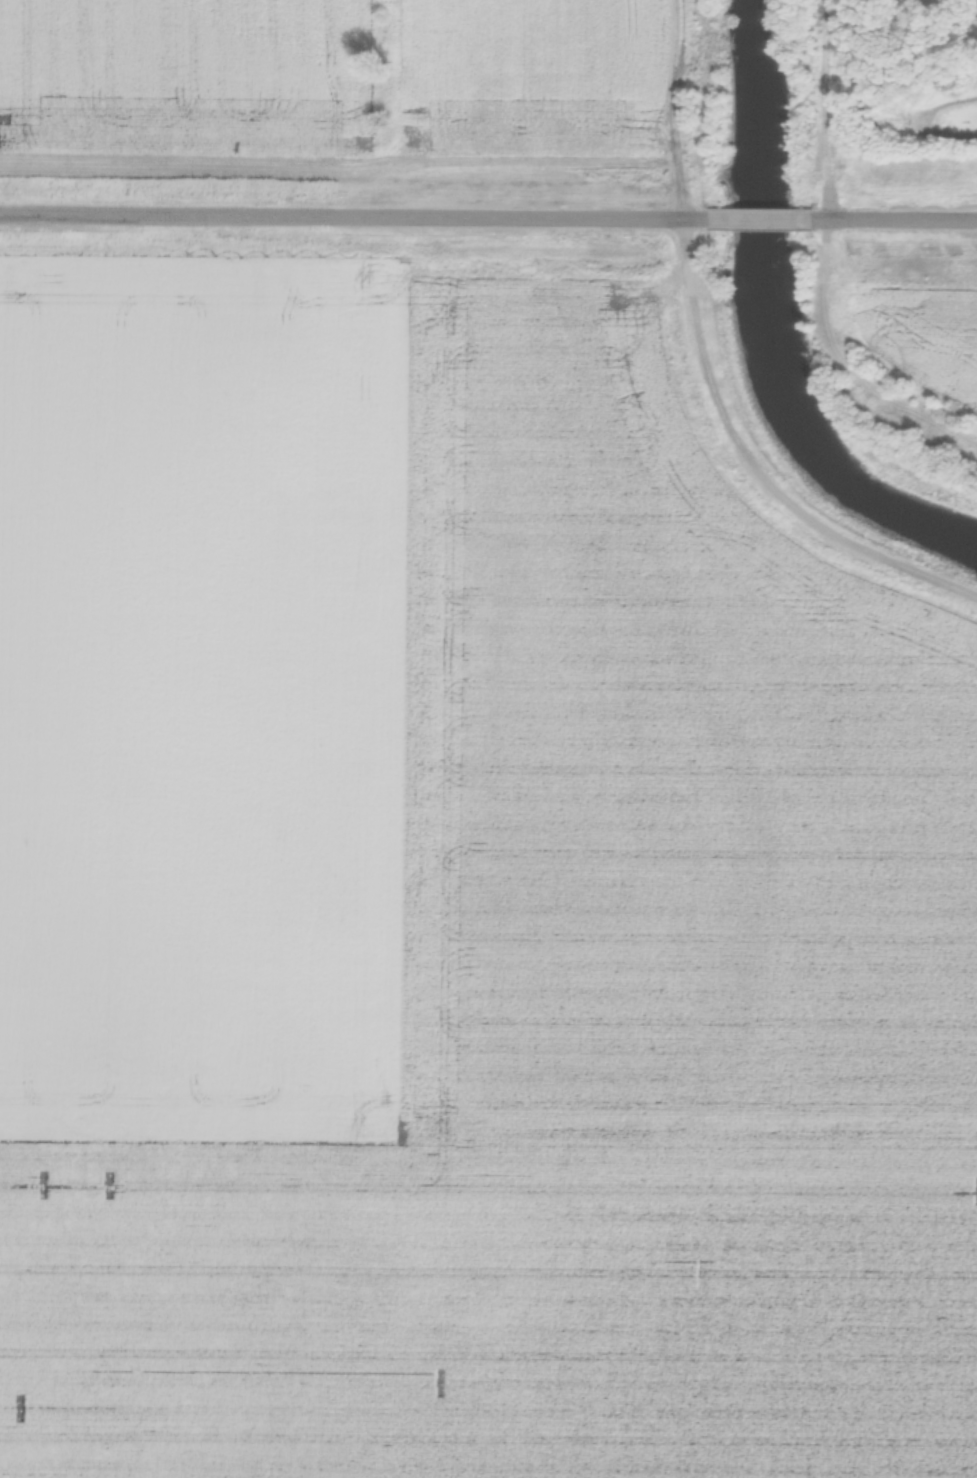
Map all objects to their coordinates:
road: (762, 215)
road: (898, 216)
road: (352, 218)
river: (762, 323)

